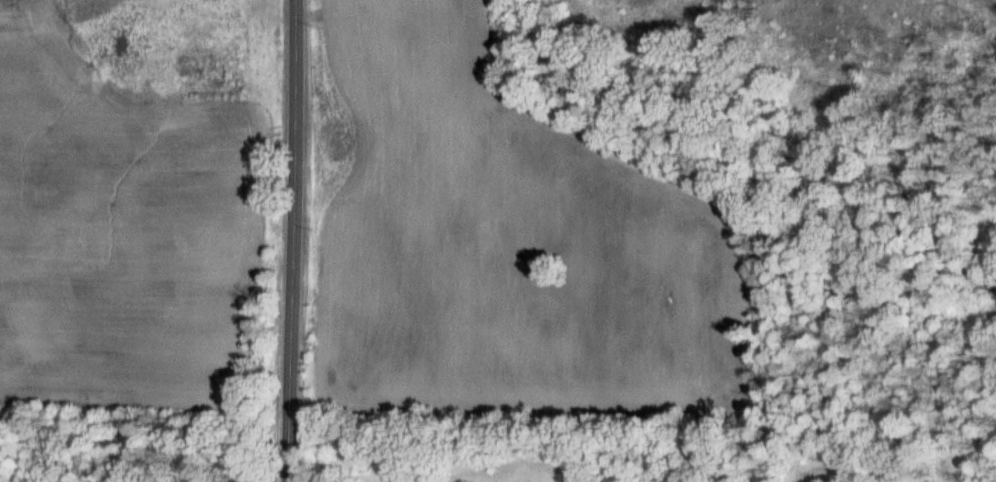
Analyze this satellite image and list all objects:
road: (288, 240)

